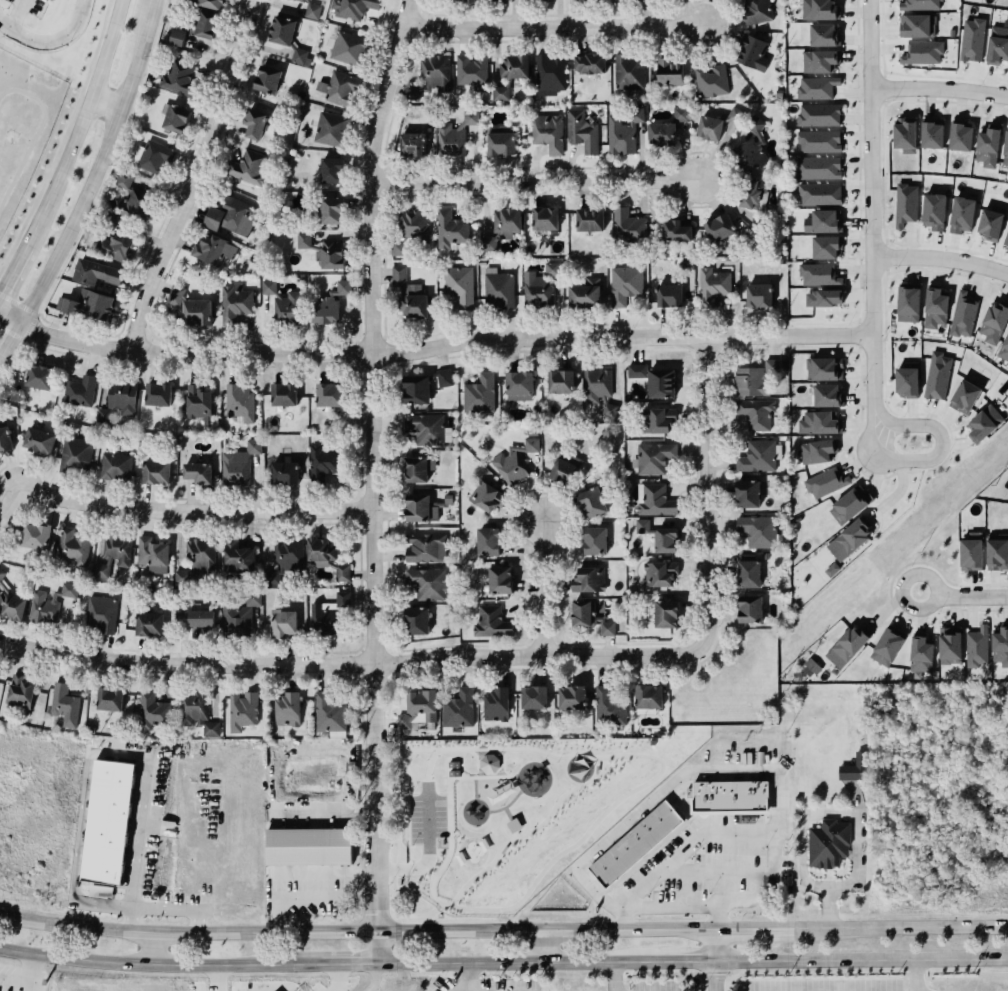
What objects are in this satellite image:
building: (301, 0)
building: (462, 0)
building: (631, 0)
building: (537, 1)
building: (208, 3)
parking lot: (28, 5)
building: (919, 5)
building: (350, 7)
building: (311, 9)
building: (820, 10)
building: (757, 11)
road: (16, 14)
building: (194, 27)
building: (917, 27)
road: (550, 28)
building: (824, 34)
building: (286, 35)
road: (50, 40)
building: (972, 40)
building: (997, 45)
building: (348, 48)
building: (756, 48)
building: (922, 53)
road: (139, 56)
building: (590, 59)
building: (821, 61)
building: (470, 67)
building: (514, 67)
building: (629, 71)
building: (548, 73)
building: (669, 73)
building: (264, 74)
building: (178, 77)
building: (432, 78)
building: (710, 80)
building: (339, 88)
building: (815, 88)
road: (941, 89)
building: (500, 93)
road: (105, 107)
building: (819, 116)
building: (176, 119)
building: (251, 119)
building: (722, 123)
road: (79, 126)
building: (327, 126)
building: (580, 126)
building: (667, 128)
building: (623, 132)
building: (548, 133)
building: (931, 133)
building: (455, 134)
building: (959, 135)
building: (906, 136)
building: (502, 142)
building: (820, 142)
building: (411, 143)
building: (988, 147)
building: (752, 149)
building: (1006, 149)
building: (155, 156)
building: (243, 165)
building: (818, 167)
building: (332, 170)
road: (197, 178)
road: (534, 182)
building: (753, 193)
building: (819, 195)
building: (133, 199)
building: (904, 203)
building: (330, 209)
building: (544, 212)
road: (874, 212)
building: (935, 213)
building: (961, 213)
building: (227, 214)
building: (588, 214)
road: (77, 221)
building: (824, 222)
building: (991, 223)
building: (502, 226)
building: (628, 227)
building: (409, 228)
building: (719, 228)
building: (450, 230)
building: (674, 230)
building: (1006, 240)
building: (117, 246)
building: (827, 248)
building: (213, 249)
building: (322, 249)
road: (942, 260)
building: (552, 268)
road: (12, 271)
building: (96, 271)
building: (817, 275)
building: (399, 276)
building: (461, 283)
building: (625, 283)
building: (713, 286)
building: (269, 287)
building: (498, 289)
building: (537, 290)
building: (759, 293)
building: (585, 294)
building: (175, 295)
building: (668, 295)
building: (824, 298)
building: (90, 303)
building: (233, 304)
building: (330, 304)
building: (413, 305)
building: (909, 305)
building: (287, 309)
building: (936, 311)
building: (198, 312)
building: (962, 312)
building: (994, 323)
road: (9, 338)
road: (434, 349)
building: (1004, 350)
building: (825, 369)
building: (39, 375)
building: (938, 376)
building: (654, 379)
building: (756, 379)
building: (559, 380)
building: (907, 380)
building: (423, 384)
building: (518, 385)
building: (598, 385)
building: (481, 390)
building: (80, 391)
building: (157, 392)
building: (284, 394)
building: (330, 396)
building: (828, 396)
building: (964, 398)
building: (119, 402)
building: (240, 403)
building: (199, 404)
building: (754, 410)
building: (658, 420)
building: (819, 423)
building: (985, 423)
building: (425, 425)
building: (5, 439)
building: (39, 439)
building: (818, 451)
building: (76, 455)
building: (653, 455)
building: (757, 455)
road: (930, 459)
building: (513, 460)
building: (321, 462)
building: (237, 464)
building: (114, 465)
building: (415, 466)
building: (564, 467)
building: (283, 471)
building: (156, 472)
building: (198, 473)
road: (369, 480)
building: (824, 481)
building: (746, 492)
building: (482, 493)
road: (703, 493)
building: (591, 501)
building: (655, 501)
building: (850, 505)
building: (424, 508)
road: (174, 512)
building: (642, 526)
building: (756, 530)
building: (35, 535)
building: (487, 537)
building: (594, 539)
building: (850, 539)
building: (666, 540)
building: (72, 545)
building: (425, 546)
building: (113, 551)
building: (971, 552)
building: (997, 552)
building: (151, 554)
building: (238, 557)
building: (326, 557)
building: (197, 559)
building: (285, 561)
building: (748, 571)
building: (658, 572)
building: (498, 573)
building: (589, 580)
building: (428, 584)
road: (540, 587)
road: (962, 596)
building: (252, 599)
building: (10, 602)
building: (50, 603)
building: (748, 605)
building: (101, 614)
building: (666, 614)
building: (329, 615)
building: (589, 616)
building: (237, 619)
building: (415, 620)
building: (201, 621)
building: (490, 621)
building: (148, 623)
building: (283, 623)
building: (887, 645)
building: (948, 645)
building: (976, 646)
building: (847, 647)
building: (999, 648)
building: (921, 658)
road: (349, 663)
building: (811, 668)
building: (19, 691)
building: (532, 692)
building: (571, 694)
building: (649, 697)
building: (109, 698)
building: (496, 701)
building: (65, 705)
building: (418, 706)
building: (610, 707)
building: (287, 708)
building: (458, 709)
building: (242, 710)
building: (152, 711)
building: (196, 713)
building: (329, 715)
road: (388, 740)
road: (462, 749)
road: (528, 749)
road: (417, 750)
road: (487, 751)
road: (580, 753)
road: (454, 759)
building: (489, 763)
road: (429, 766)
road: (460, 766)
building: (855, 768)
road: (448, 769)
road: (712, 772)
road: (593, 773)
road: (565, 774)
road: (463, 775)
road: (495, 776)
road: (470, 777)
road: (457, 778)
road: (475, 787)
building: (729, 791)
road: (513, 800)
road: (396, 806)
road: (449, 806)
road: (554, 809)
road: (496, 810)
road: (506, 811)
road: (847, 812)
park: (506, 815)
road: (523, 817)
parking lot: (427, 818)
road: (510, 818)
building: (109, 821)
building: (514, 824)
road: (502, 827)
road: (590, 828)
road: (458, 835)
road: (519, 836)
building: (827, 842)
road: (482, 843)
building: (636, 843)
road: (688, 845)
building: (309, 846)
road: (427, 850)
water park: (473, 851)
road: (498, 854)
road: (136, 855)
road: (463, 859)
road: (396, 865)
road: (483, 865)
road: (439, 870)
road: (396, 873)
road: (465, 885)
building: (101, 891)
road: (398, 892)
road: (307, 895)
road: (83, 899)
road: (667, 904)
road: (445, 905)
road: (397, 914)
road: (420, 916)
road: (397, 927)
road: (899, 927)
road: (750, 928)
road: (355, 935)
road: (711, 946)
road: (545, 948)
road: (150, 950)
road: (859, 961)
road: (682, 963)
road: (514, 964)
road: (347, 965)
road: (398, 965)
road: (160, 966)
road: (917, 976)
road: (465, 977)
road: (612, 977)
road: (711, 977)
road: (372, 979)

